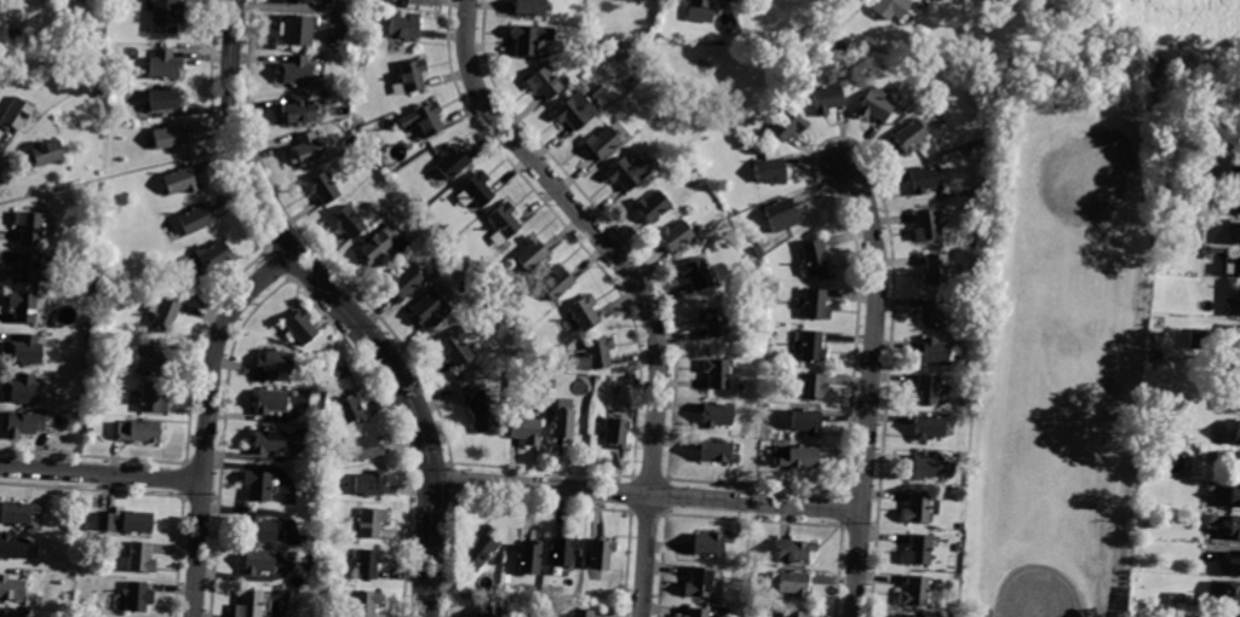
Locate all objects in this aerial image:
building: (303, 1)
building: (407, 1)
building: (529, 7)
building: (890, 7)
building: (700, 11)
building: (165, 15)
building: (403, 27)
building: (295, 29)
park: (1155, 30)
building: (13, 33)
building: (655, 36)
building: (529, 39)
building: (777, 39)
building: (361, 60)
building: (162, 65)
building: (295, 70)
building: (773, 70)
building: (114, 74)
building: (411, 77)
building: (544, 83)
building: (98, 93)
building: (826, 99)
building: (163, 100)
building: (874, 105)
building: (298, 109)
building: (574, 110)
building: (17, 115)
road: (1159, 119)
building: (424, 120)
building: (785, 121)
building: (909, 135)
building: (170, 137)
building: (350, 142)
building: (601, 142)
building: (309, 149)
building: (975, 150)
building: (46, 155)
building: (452, 162)
building: (769, 167)
building: (626, 172)
road: (119, 174)
building: (1205, 174)
building: (1234, 174)
building: (924, 180)
building: (179, 181)
building: (321, 188)
building: (477, 189)
park: (1077, 201)
building: (651, 206)
building: (1239, 208)
building: (781, 213)
building: (196, 219)
building: (346, 223)
building: (503, 224)
building: (929, 224)
building: (30, 226)
building: (170, 232)
building: (1239, 235)
building: (674, 236)
building: (971, 243)
building: (383, 246)
building: (758, 250)
building: (530, 253)
building: (813, 259)
building: (207, 260)
building: (1236, 264)
building: (476, 266)
building: (27, 269)
building: (936, 270)
building: (696, 273)
road: (635, 281)
building: (404, 282)
building: (556, 282)
building: (90, 287)
building: (774, 287)
road: (339, 305)
building: (815, 305)
building: (24, 307)
building: (162, 310)
building: (429, 310)
building: (584, 311)
building: (935, 313)
building: (516, 319)
building: (714, 321)
building: (299, 327)
building: (87, 328)
building: (1199, 339)
building: (455, 346)
building: (813, 346)
building: (28, 350)
building: (935, 352)
building: (593, 353)
building: (150, 357)
building: (1072, 357)
building: (275, 364)
building: (717, 374)
building: (811, 387)
road: (869, 387)
building: (27, 390)
building: (925, 390)
building: (153, 398)
building: (1238, 400)
building: (269, 402)
park: (1061, 406)
building: (478, 409)
building: (348, 411)
building: (717, 415)
building: (84, 417)
road: (206, 420)
building: (805, 422)
building: (24, 423)
building: (562, 425)
building: (928, 428)
building: (524, 429)
building: (137, 431)
building: (615, 431)
building: (1236, 433)
building: (268, 442)
building: (364, 448)
building: (716, 452)
building: (798, 457)
building: (1235, 466)
building: (925, 467)
road: (101, 473)
building: (368, 484)
building: (257, 485)
building: (1210, 486)
road: (647, 494)
building: (1234, 495)
building: (915, 508)
building: (18, 513)
building: (1211, 520)
building: (127, 521)
building: (369, 523)
building: (1219, 524)
building: (1233, 527)
building: (259, 530)
building: (710, 543)
building: (13, 547)
building: (480, 547)
building: (794, 550)
building: (918, 550)
building: (562, 552)
building: (599, 554)
building: (529, 558)
building: (139, 559)
building: (258, 563)
building: (367, 564)
building: (1232, 564)
park: (1058, 570)
building: (699, 583)
building: (791, 583)
building: (12, 589)
building: (326, 589)
building: (914, 592)
building: (1230, 594)
building: (137, 596)
building: (1177, 599)
building: (248, 604)
building: (363, 604)
building: (754, 607)
building: (489, 611)
building: (725, 611)
building: (582, 612)
building: (696, 612)
building: (793, 613)
building: (1227, 613)
building: (6, 615)

